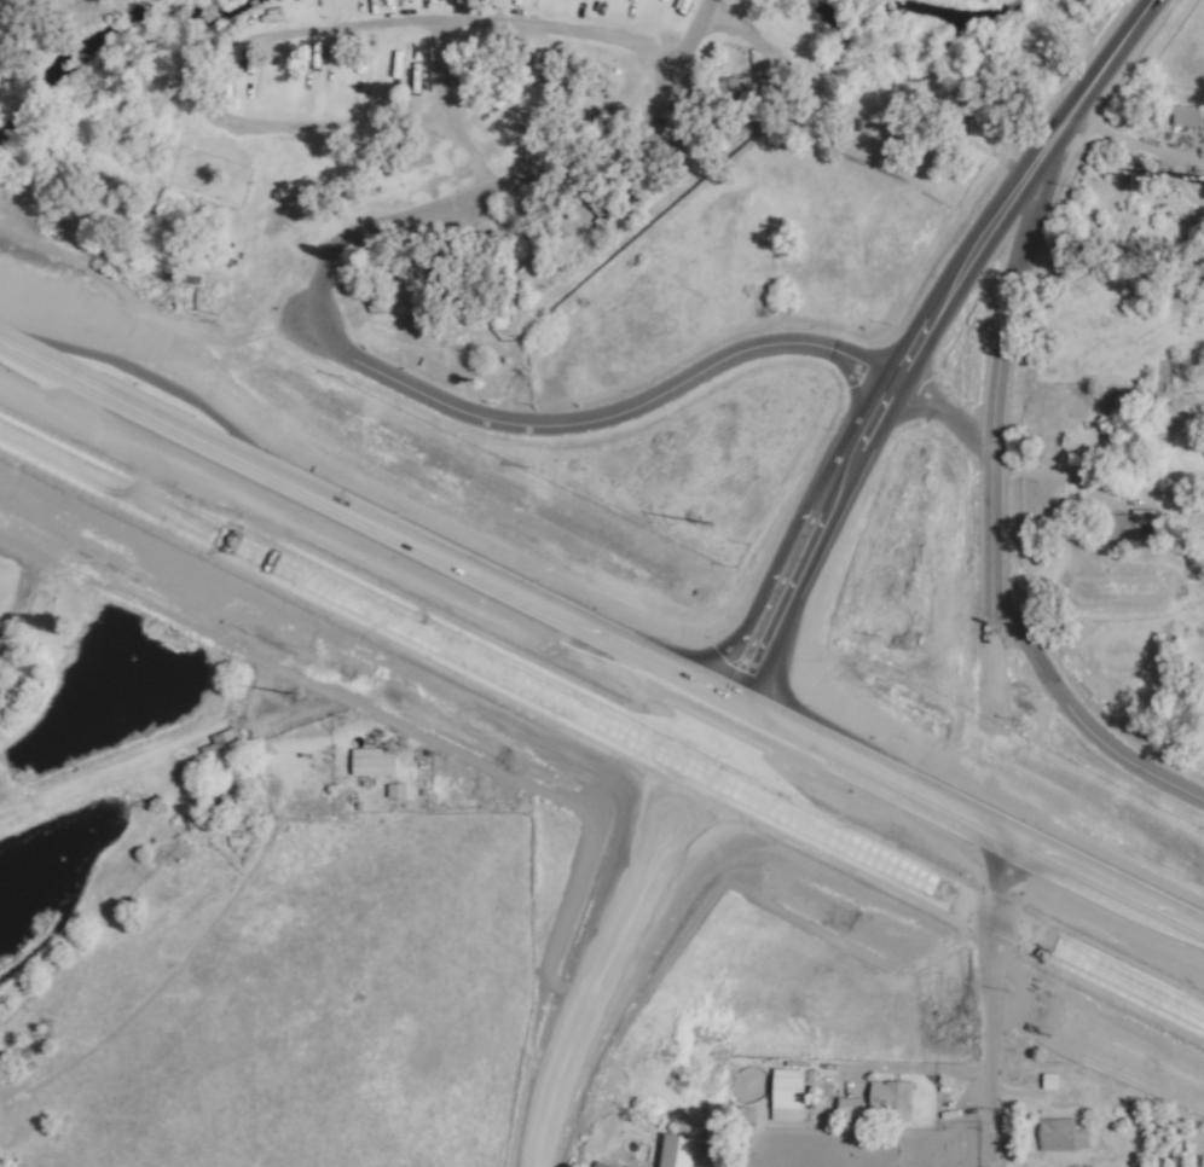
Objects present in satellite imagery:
road: (481, 19)
road: (688, 36)
road: (1110, 66)
building: (527, 69)
crop: (1176, 75)
building: (1183, 116)
road: (1138, 143)
building: (601, 214)
building: (1109, 227)
road: (972, 256)
building: (447, 263)
building: (401, 267)
road: (595, 429)
building: (1130, 526)
power tower: (563, 585)
road: (1011, 612)
road: (601, 637)
road: (602, 720)
building: (218, 744)
building: (371, 762)
road: (704, 768)
building: (394, 791)
crop: (297, 1014)
road: (920, 1069)
building: (1048, 1081)
building: (785, 1095)
building: (890, 1099)
road: (990, 1101)
building: (847, 1107)
building: (1059, 1136)
building: (675, 1151)
building: (598, 1165)

